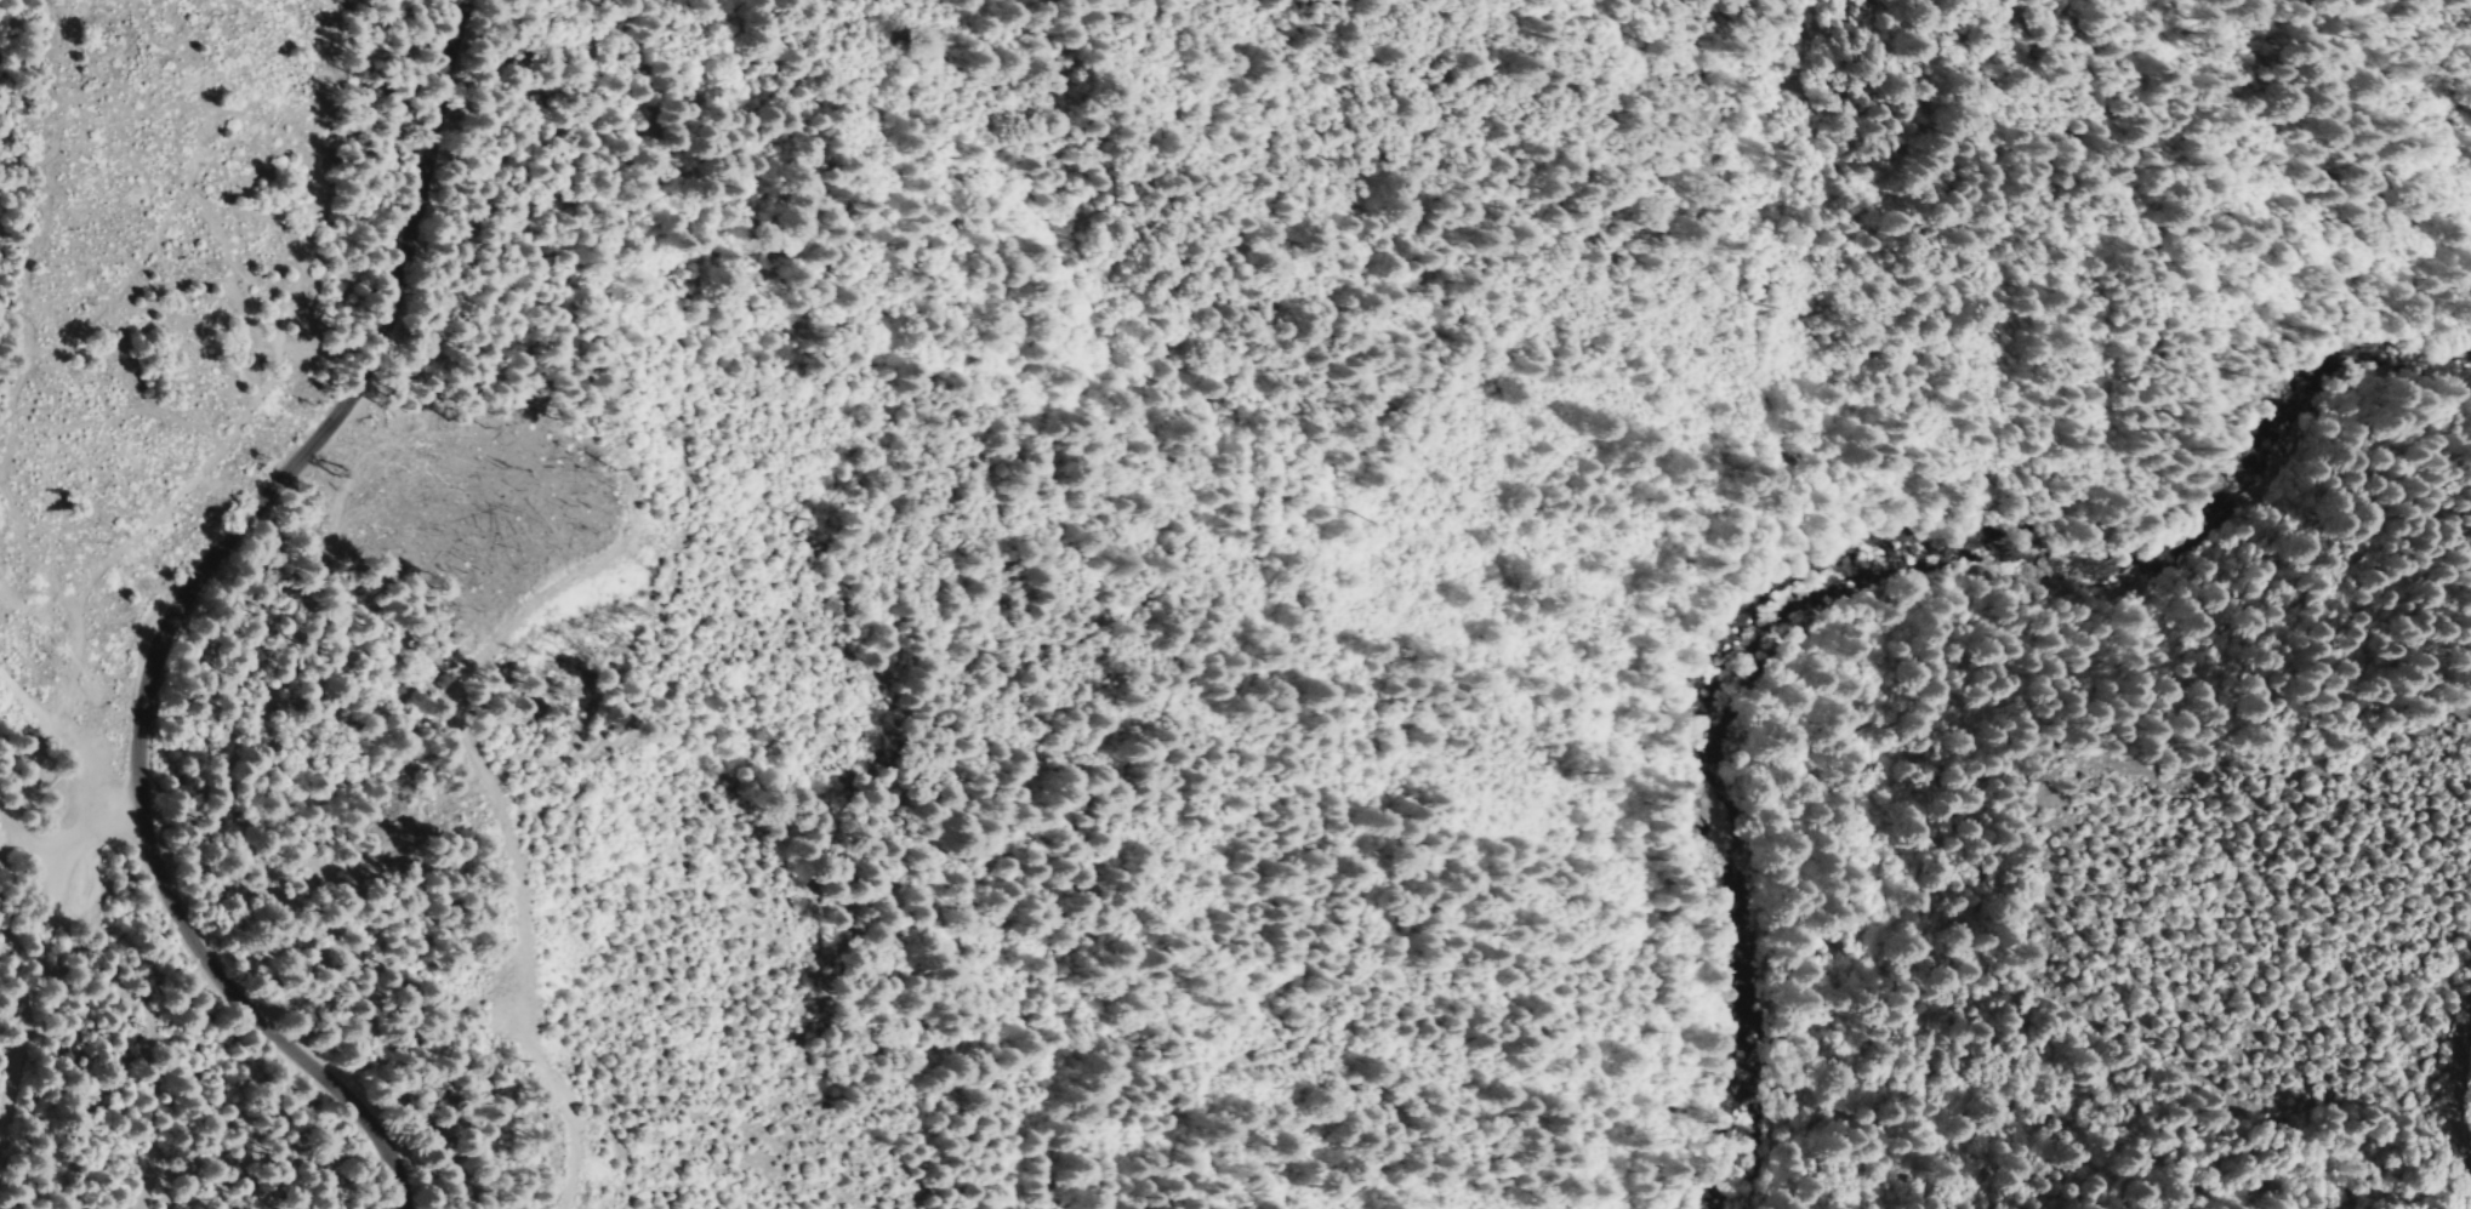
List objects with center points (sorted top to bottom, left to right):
road: (329, 428)
road: (64, 740)
road: (97, 829)
road: (30, 832)
river: (1713, 876)
road: (32, 992)
road: (260, 1019)

